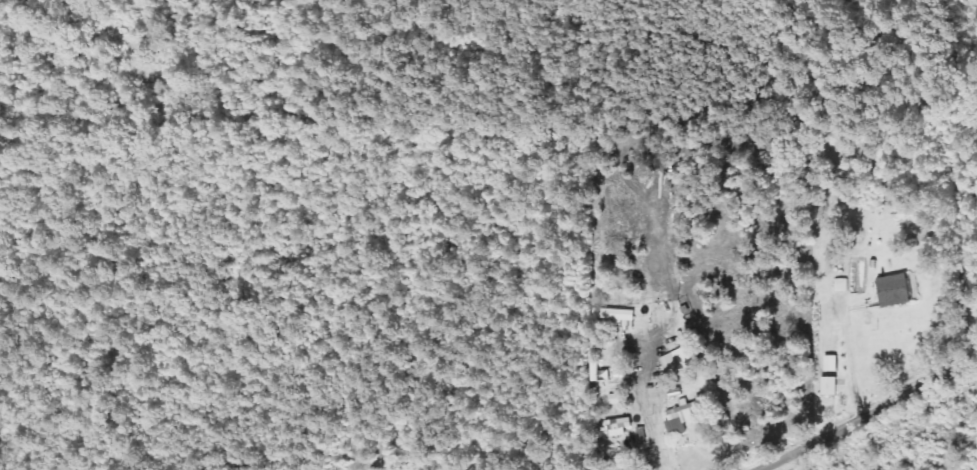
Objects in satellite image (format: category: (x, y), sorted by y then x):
building: (896, 291)
road: (658, 303)
building: (616, 317)
building: (680, 360)
building: (831, 364)
road: (868, 413)
building: (685, 417)

